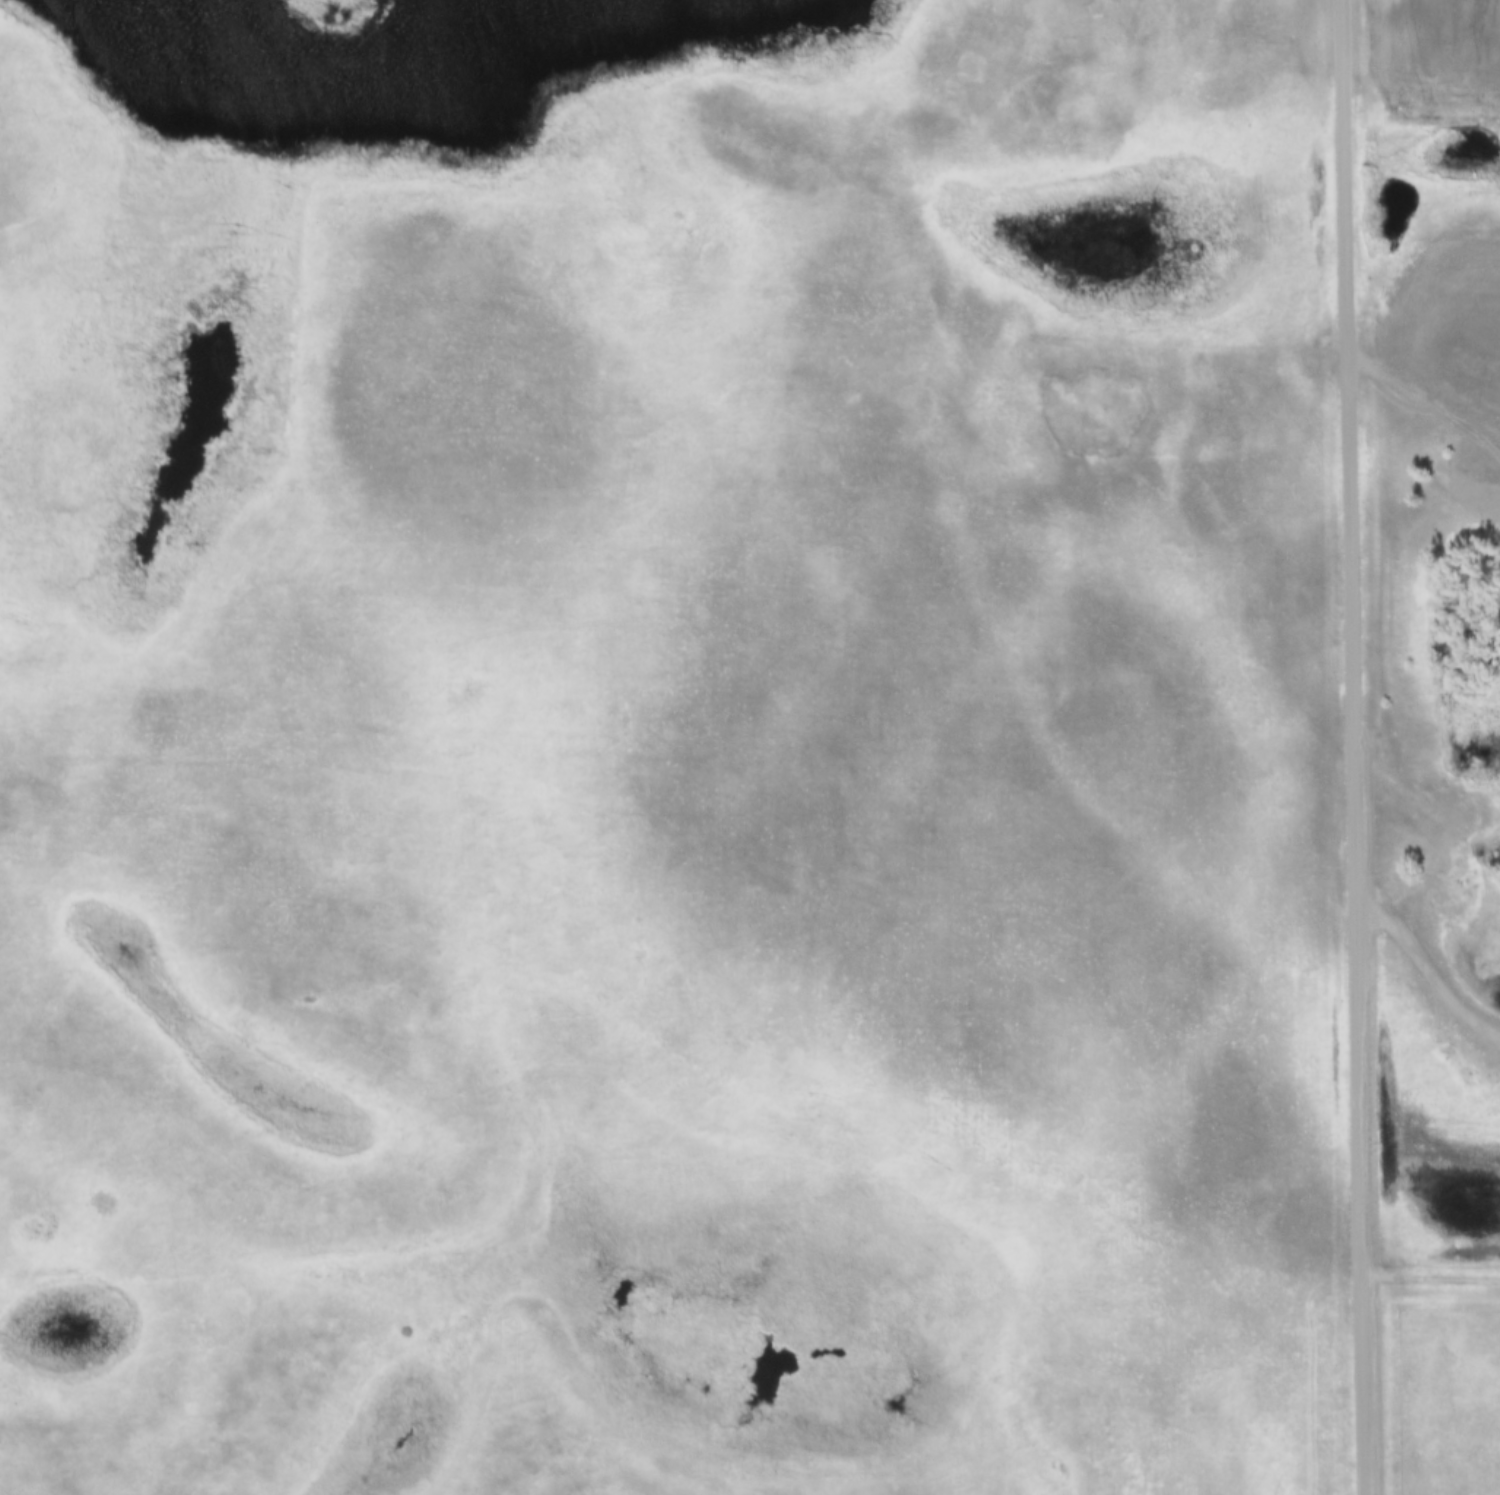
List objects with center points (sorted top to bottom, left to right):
road: (1428, 397)
road: (1359, 747)
quarry: (1472, 774)
road: (1433, 961)
road: (1433, 1279)

